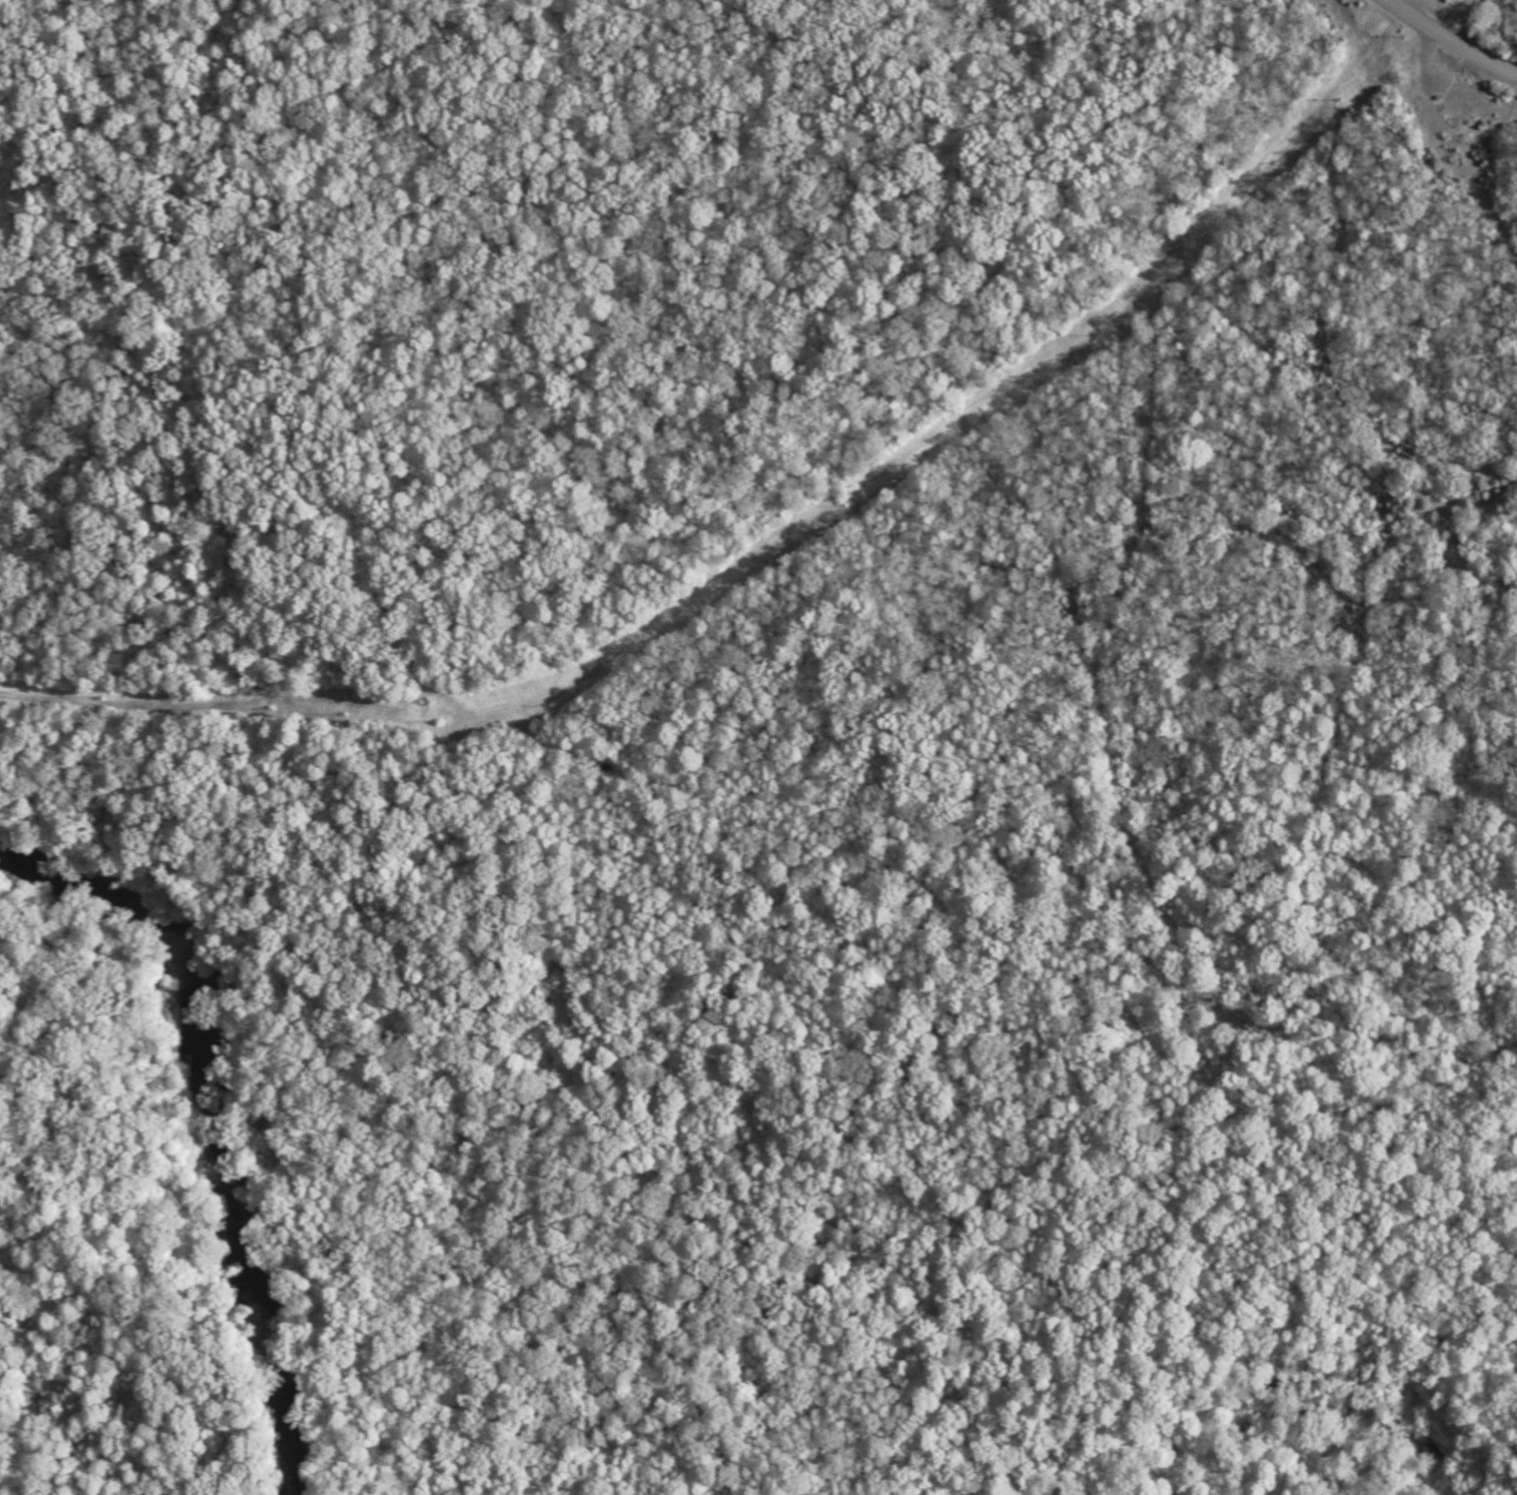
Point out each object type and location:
road: (1451, 37)
river: (221, 1123)
road: (97, 1372)

